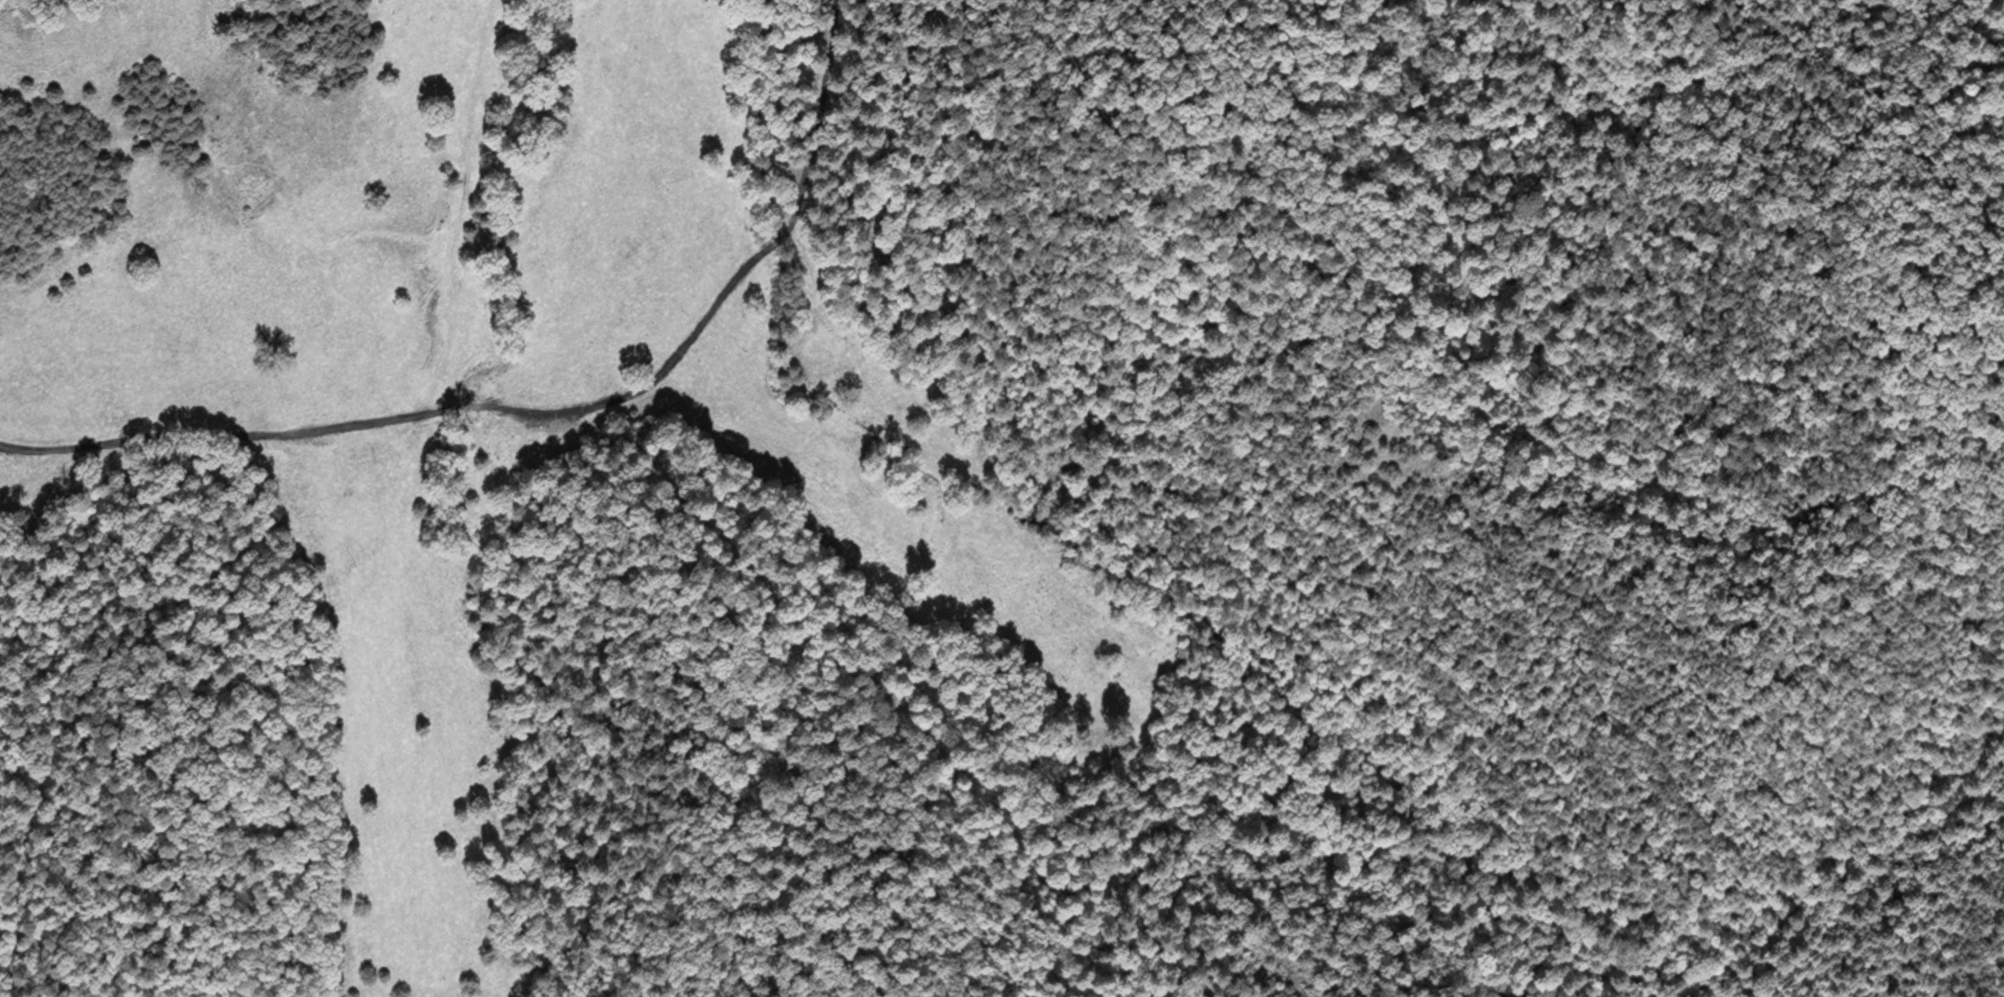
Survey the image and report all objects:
road: (544, 408)

